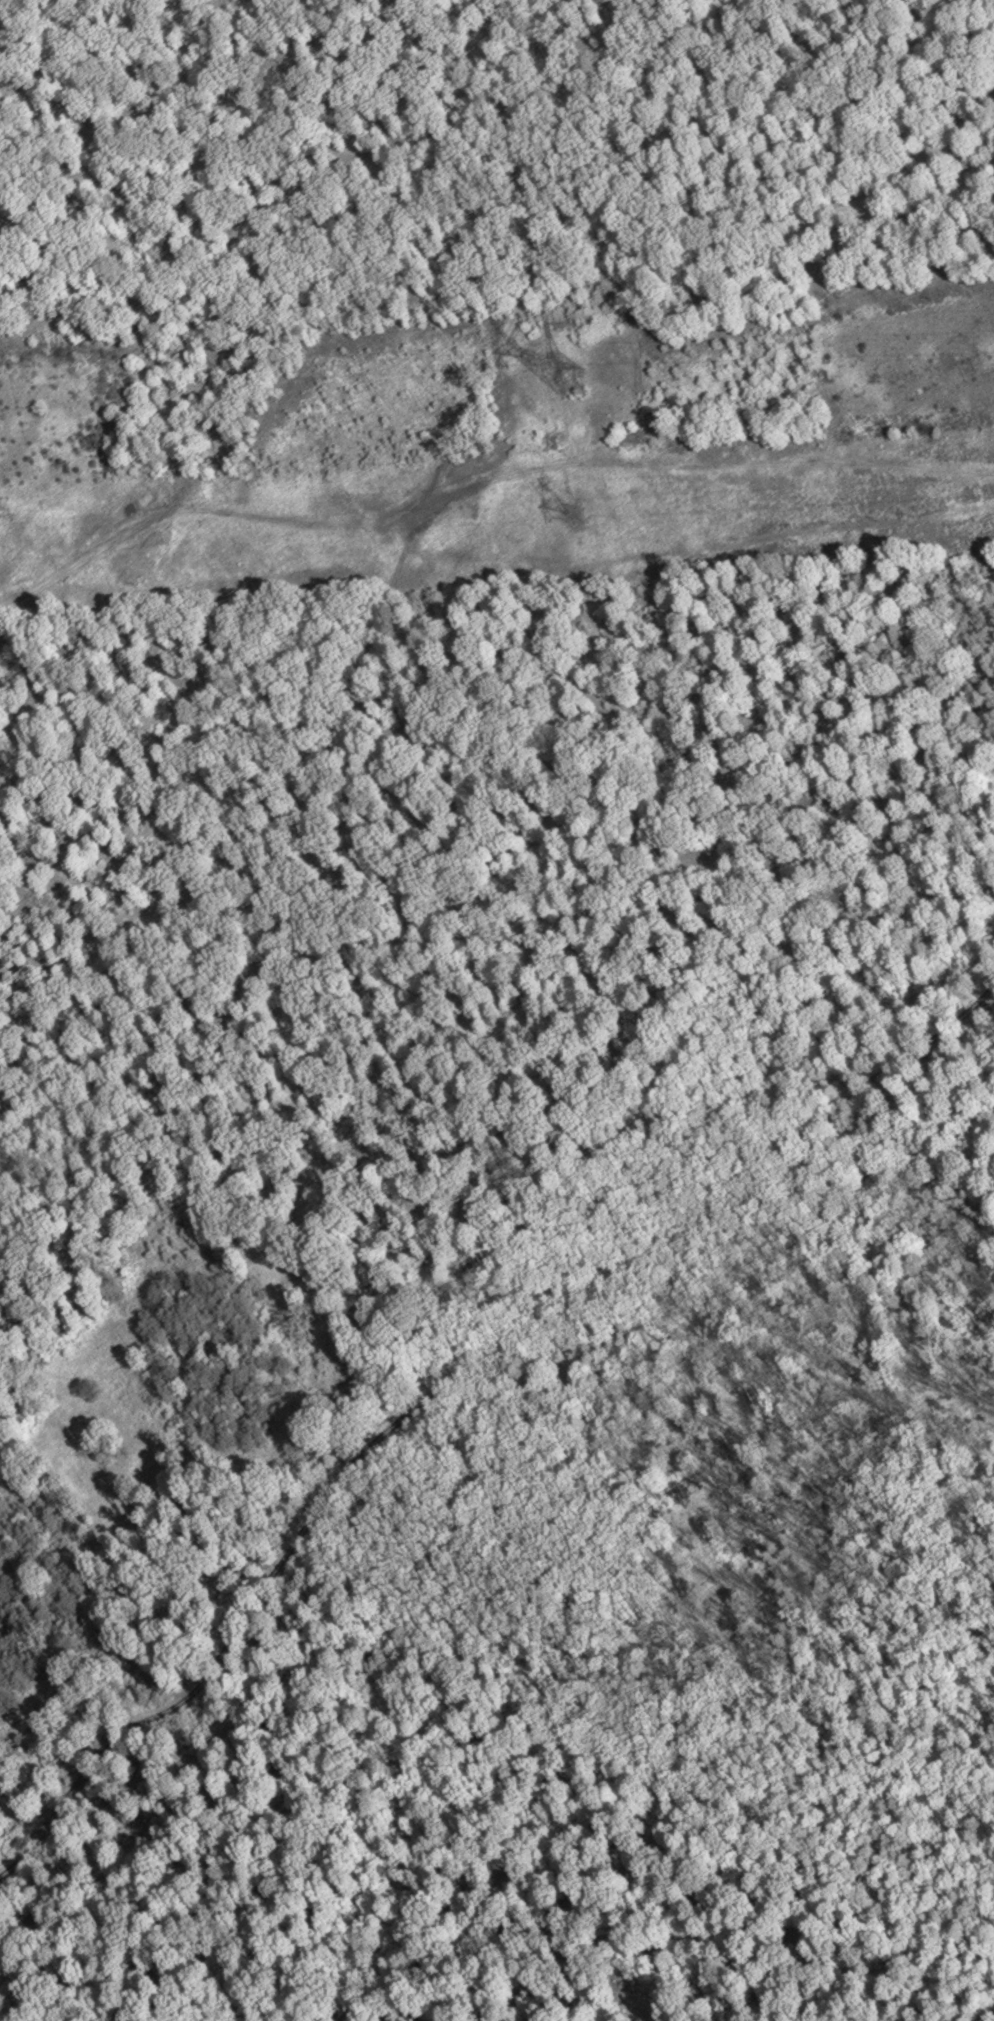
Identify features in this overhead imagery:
power tower: (576, 382)
power tower: (581, 515)
road: (31, 1836)

